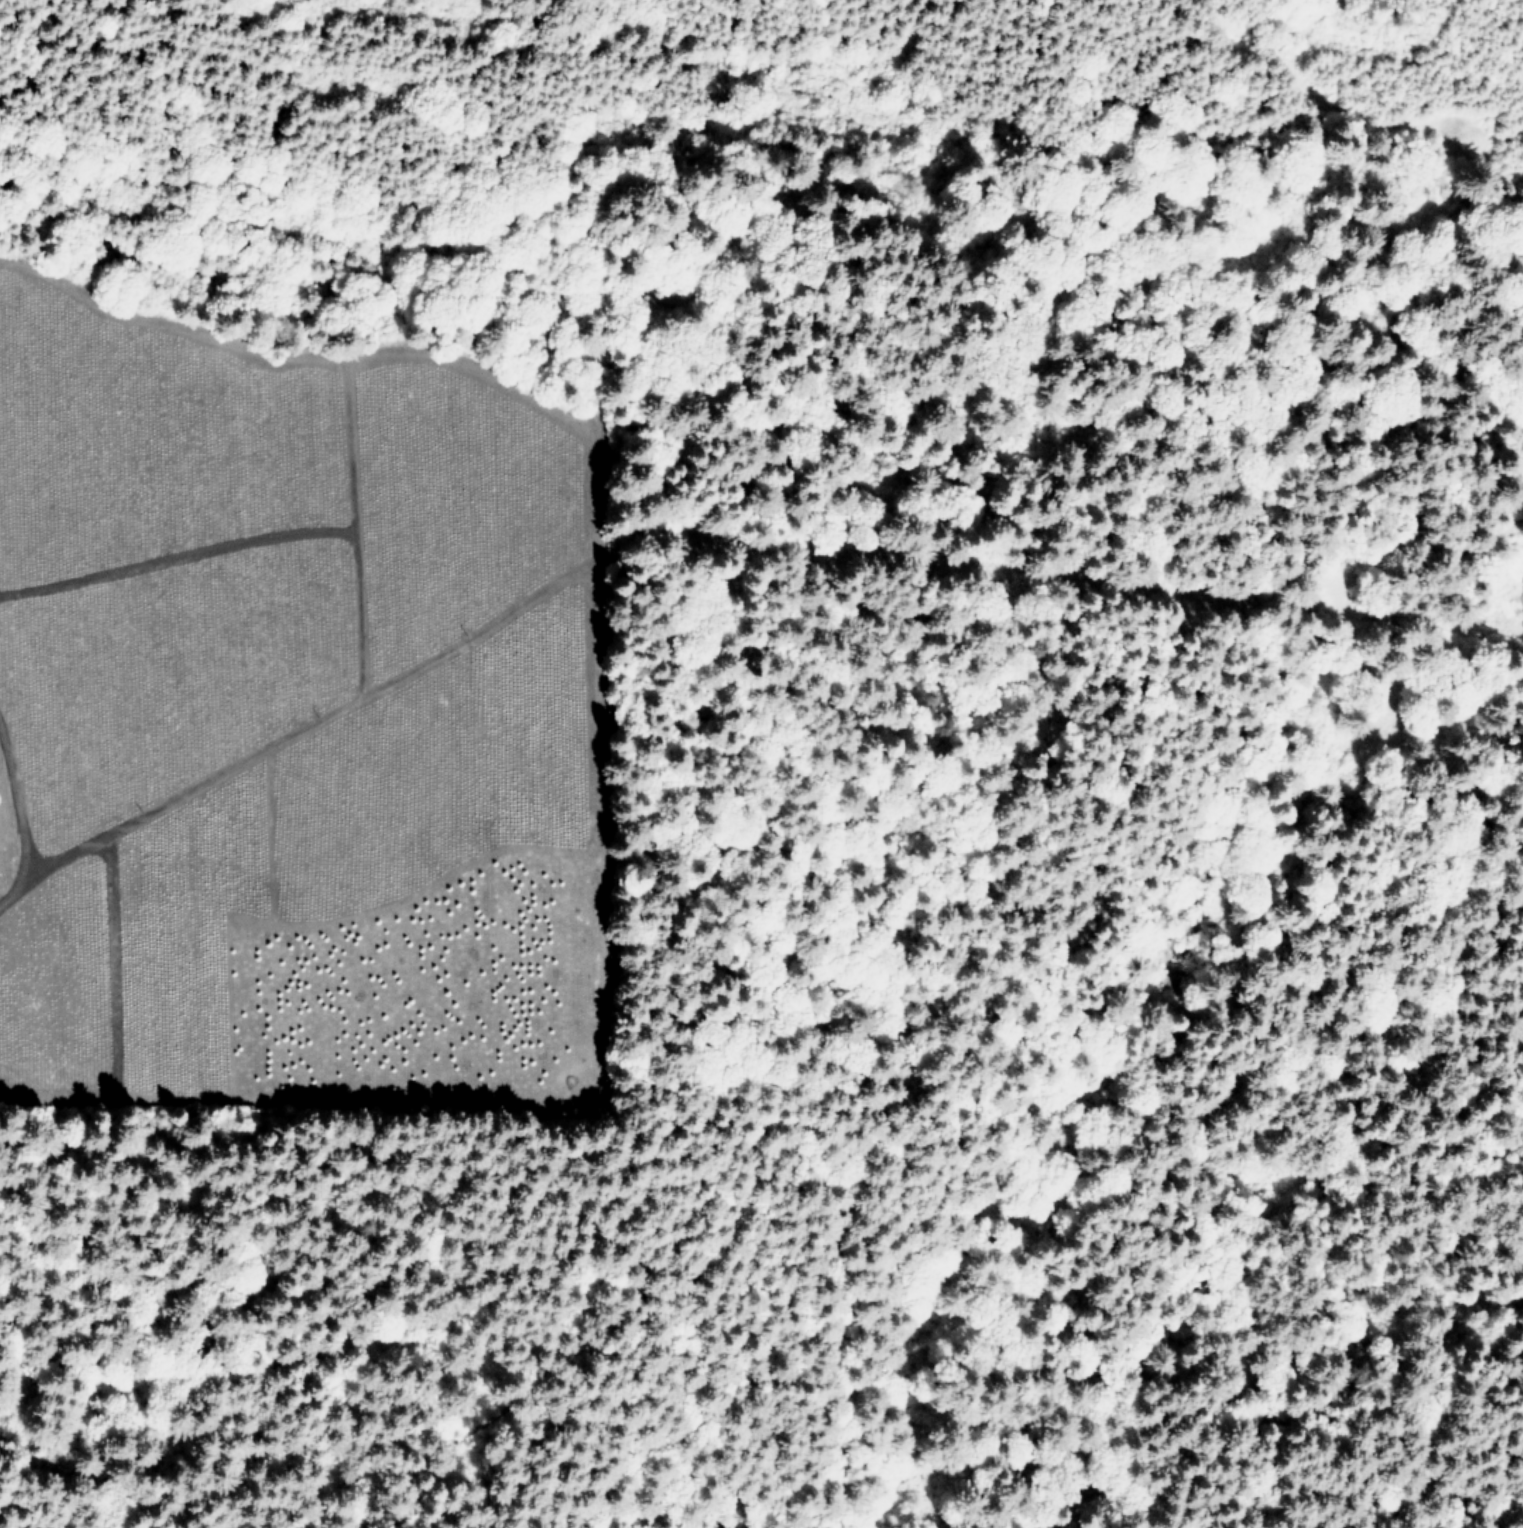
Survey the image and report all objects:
road: (16, 824)

